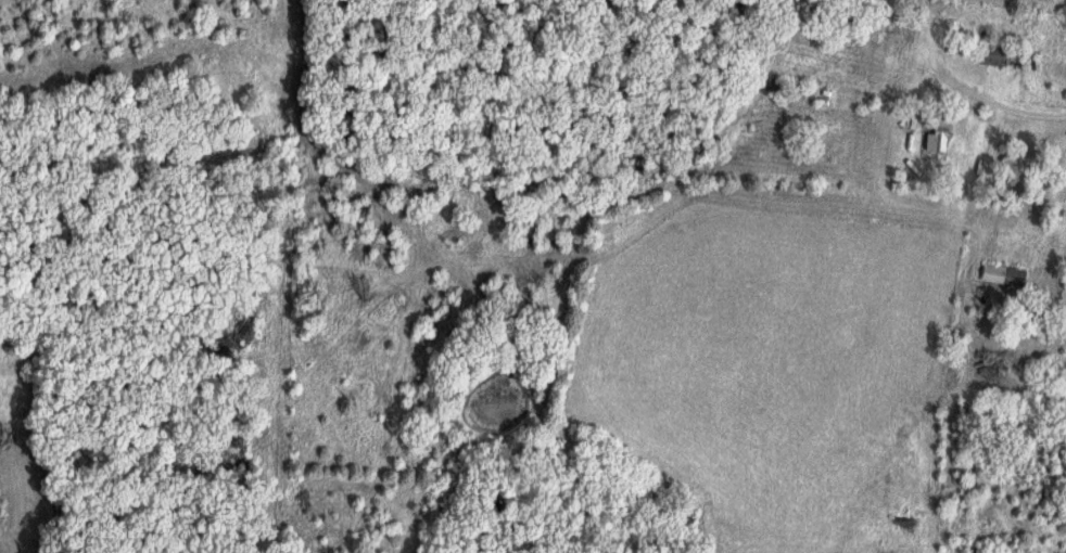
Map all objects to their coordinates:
road: (1008, 108)

